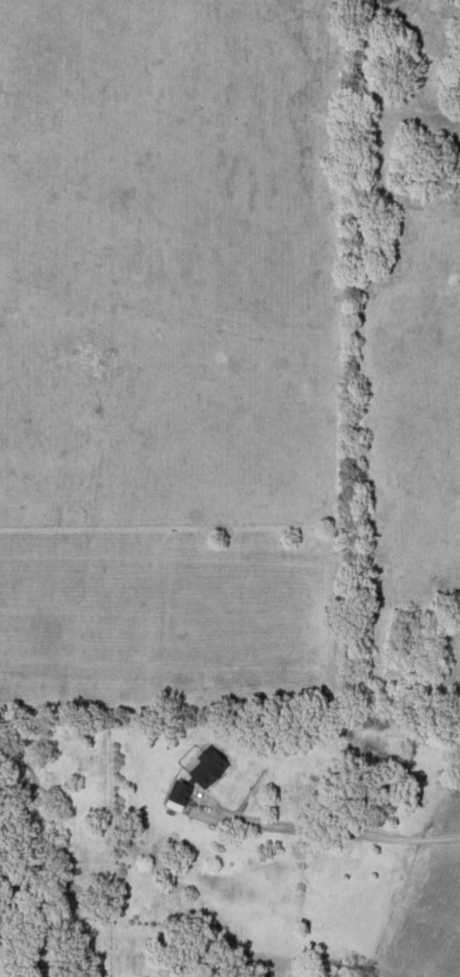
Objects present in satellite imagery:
building: (200, 773)
road: (331, 829)

